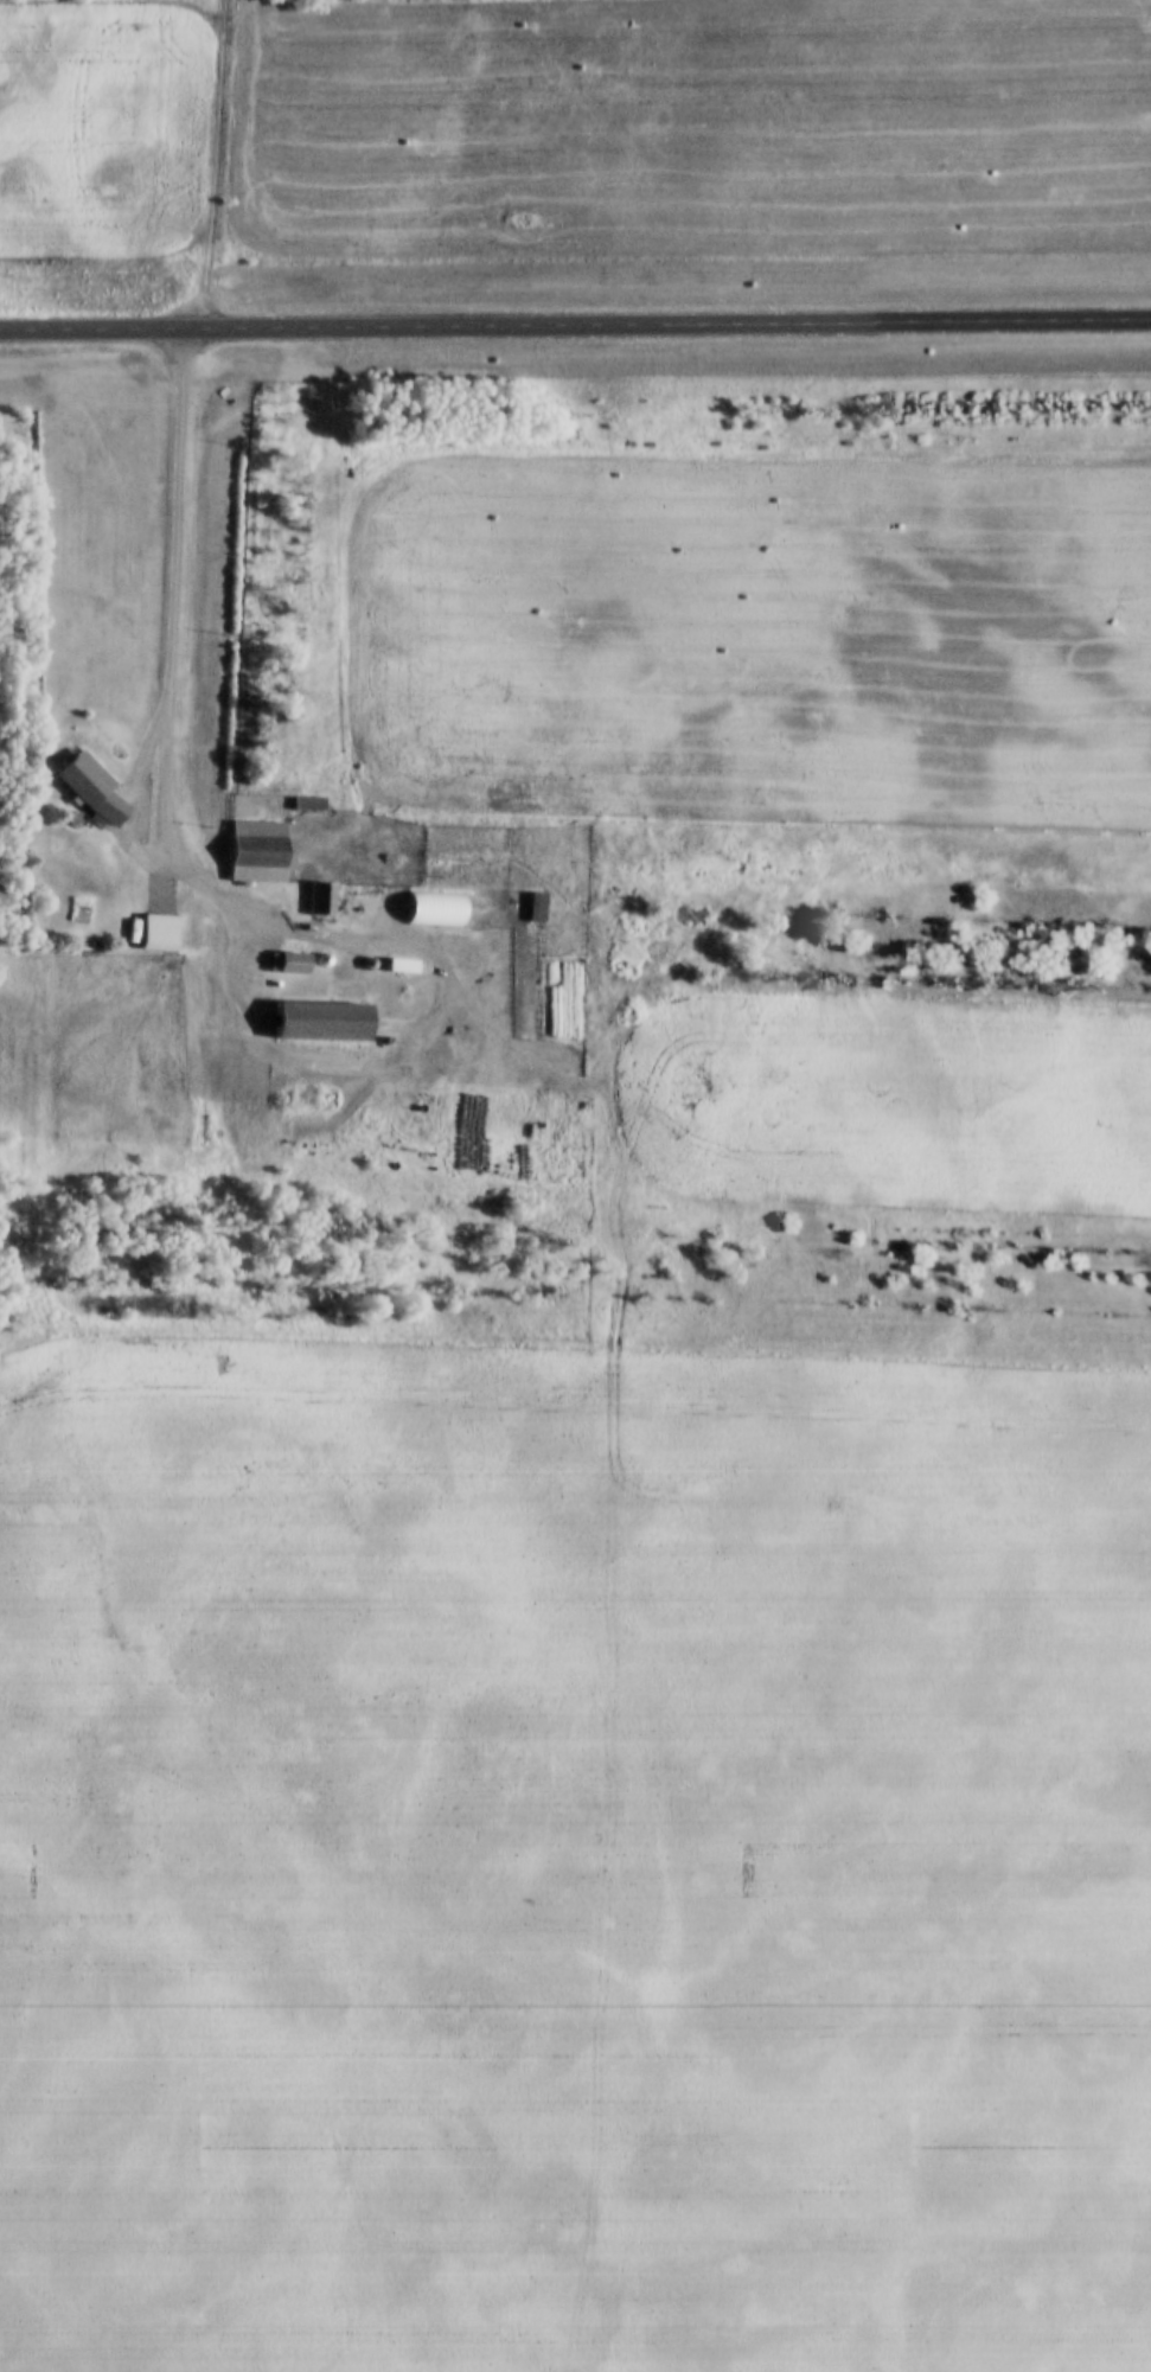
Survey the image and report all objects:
road: (216, 164)
road: (575, 322)
road: (171, 683)
building: (92, 789)
building: (308, 804)
building: (257, 852)
building: (322, 899)
building: (537, 908)
building: (158, 933)
building: (293, 965)
building: (319, 1023)

